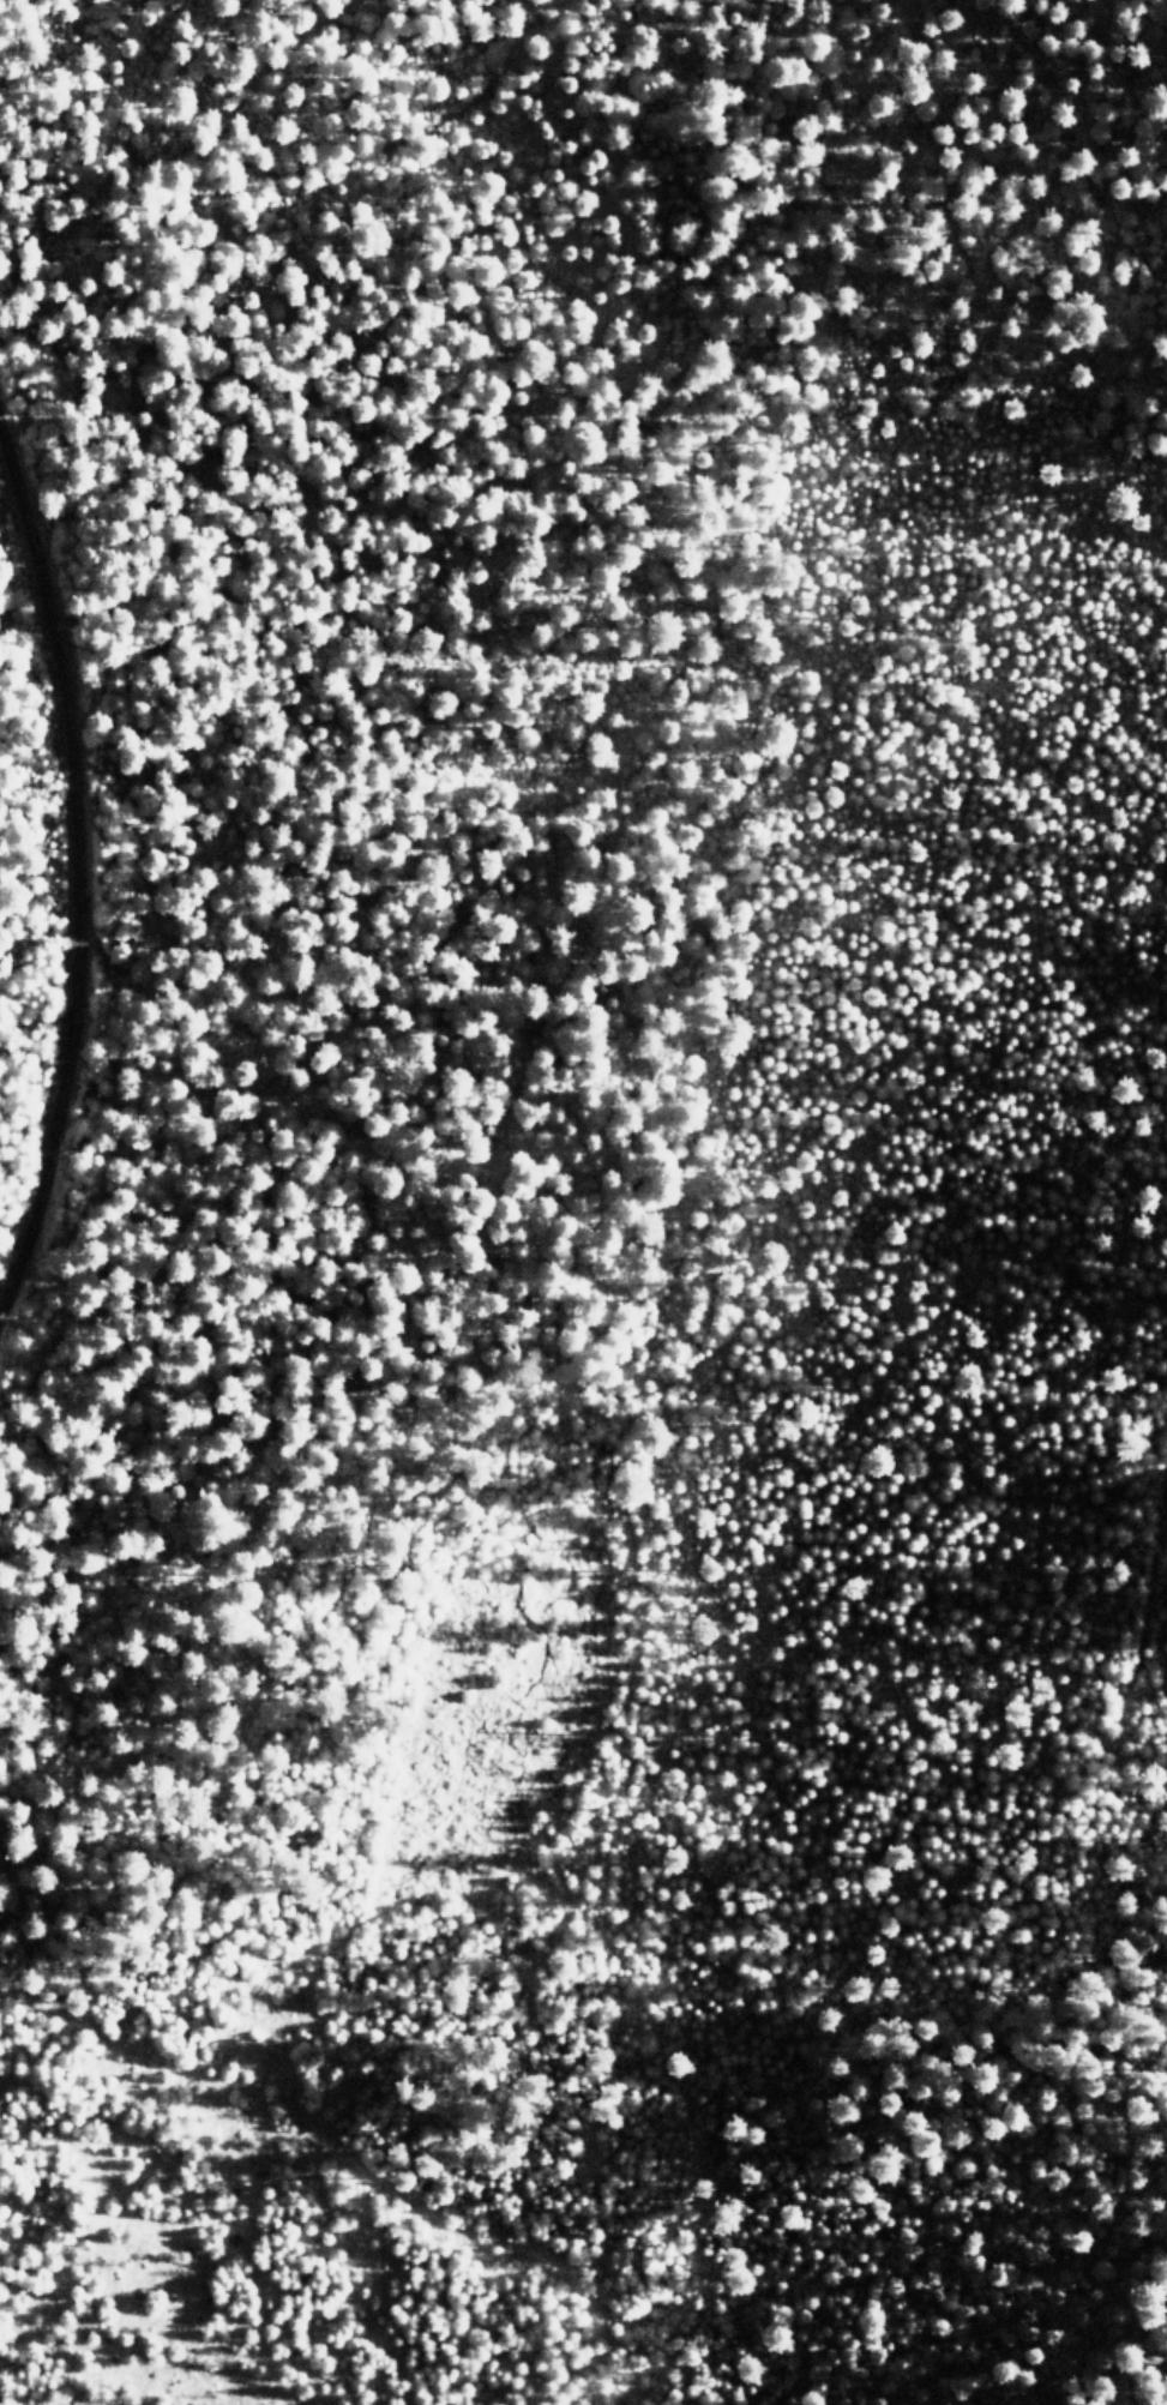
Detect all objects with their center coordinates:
road: (66, 816)

